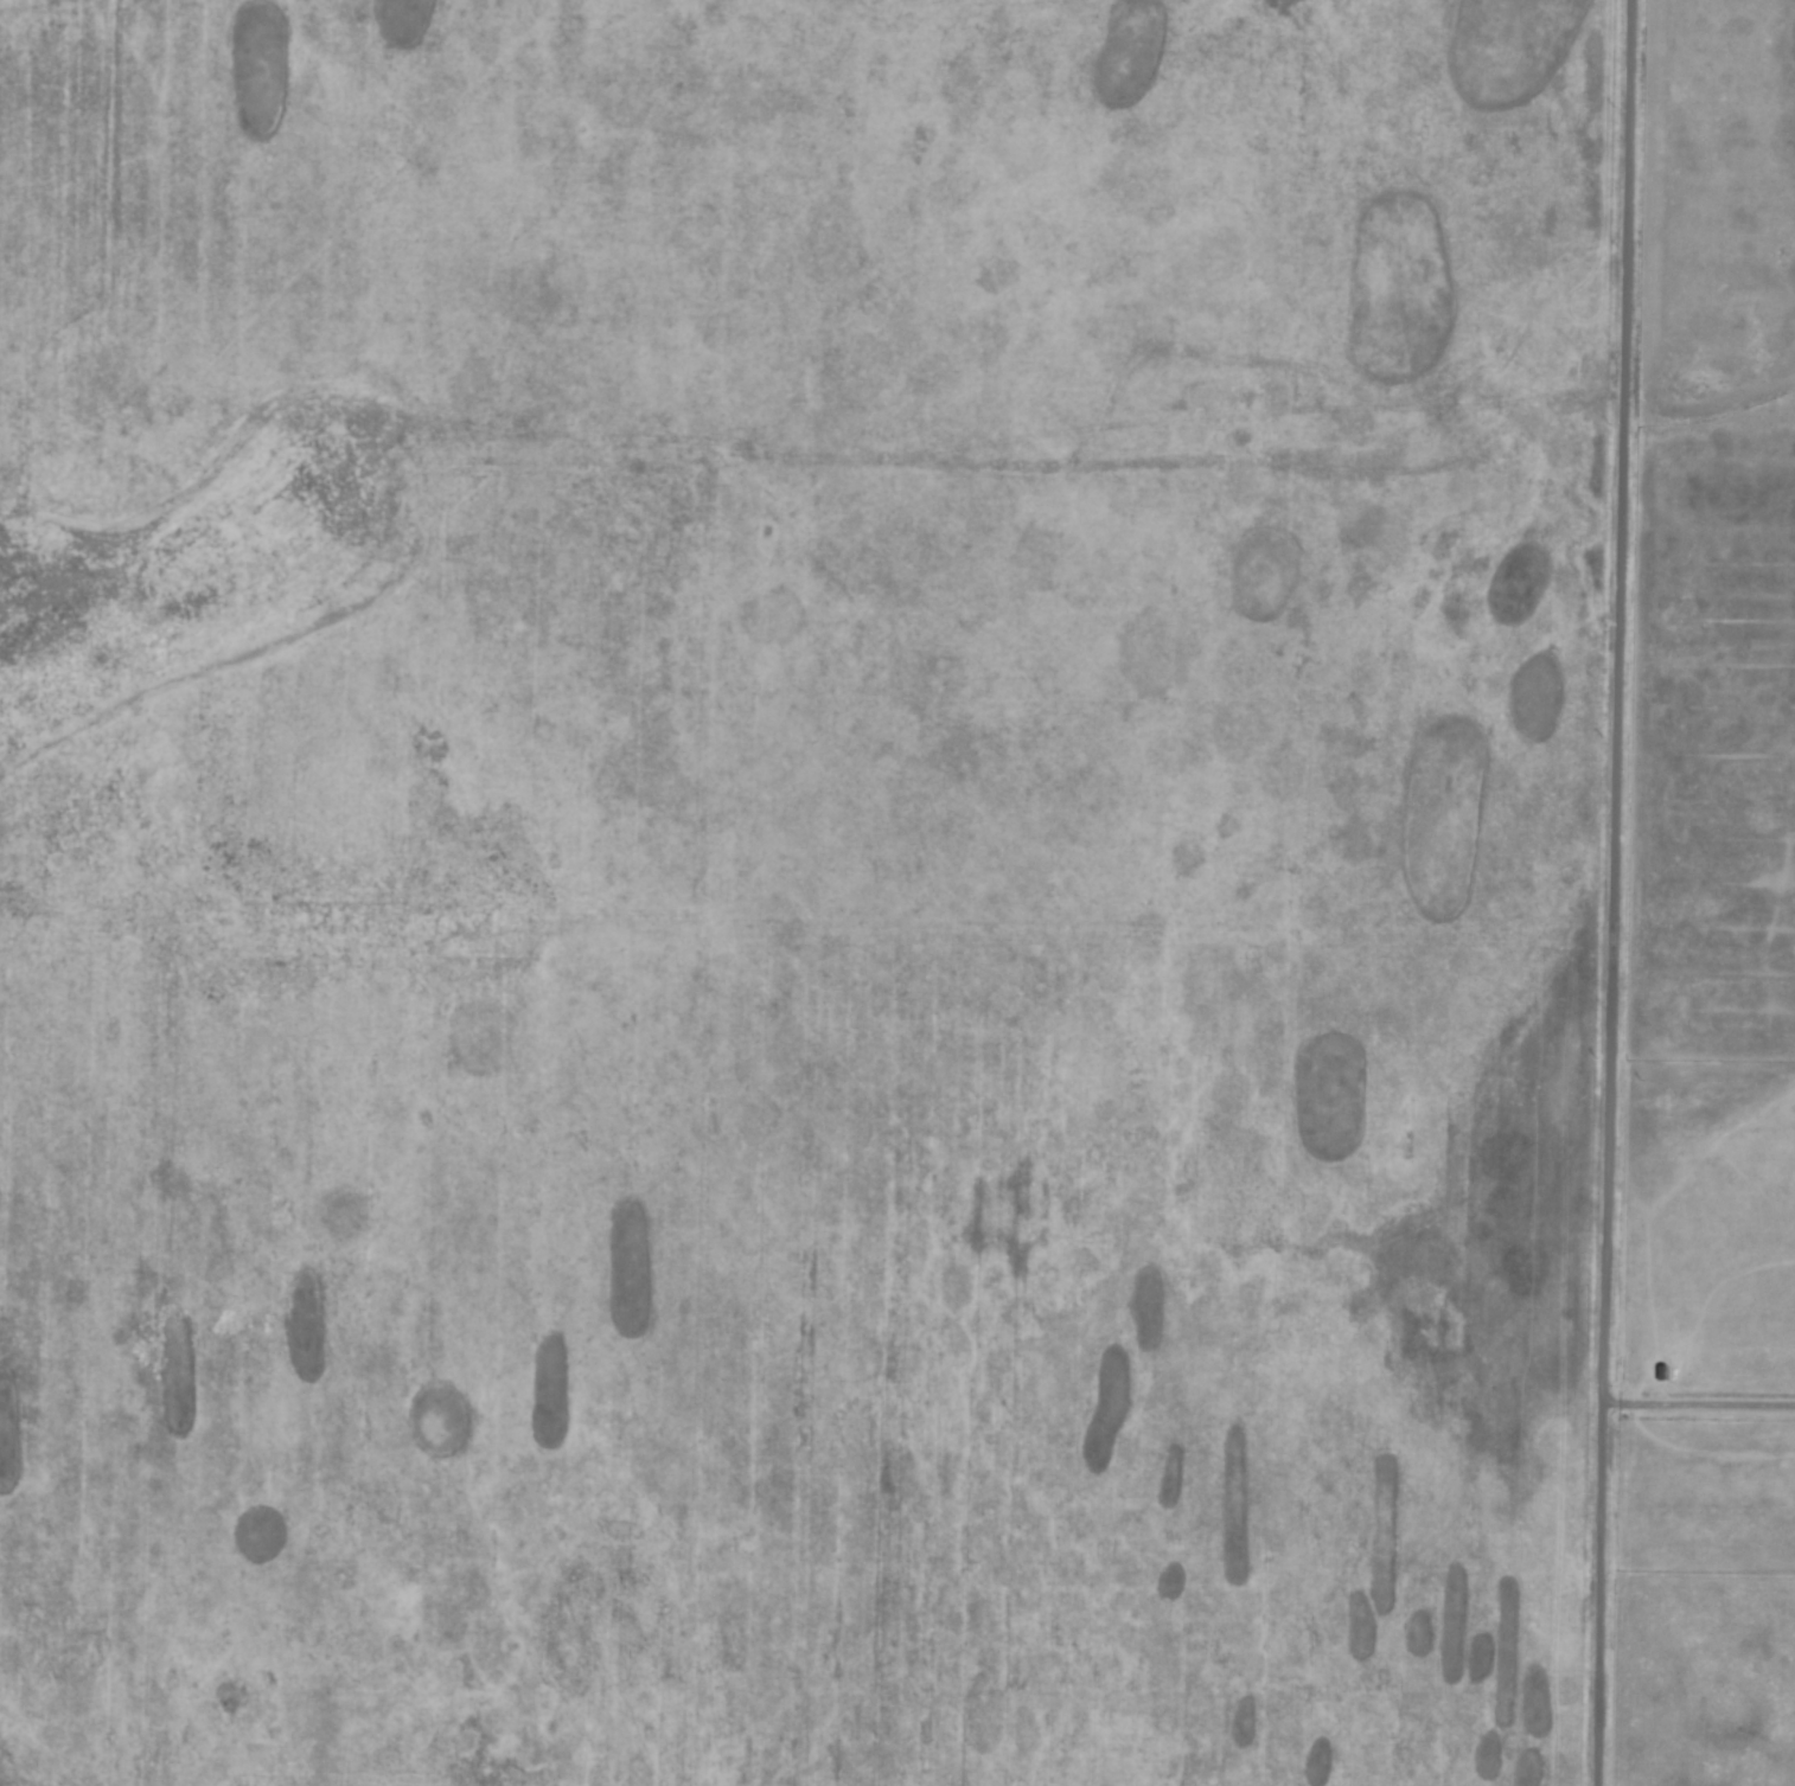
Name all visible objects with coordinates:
road: (1062, 462)
road: (1615, 892)
road: (1700, 1404)

